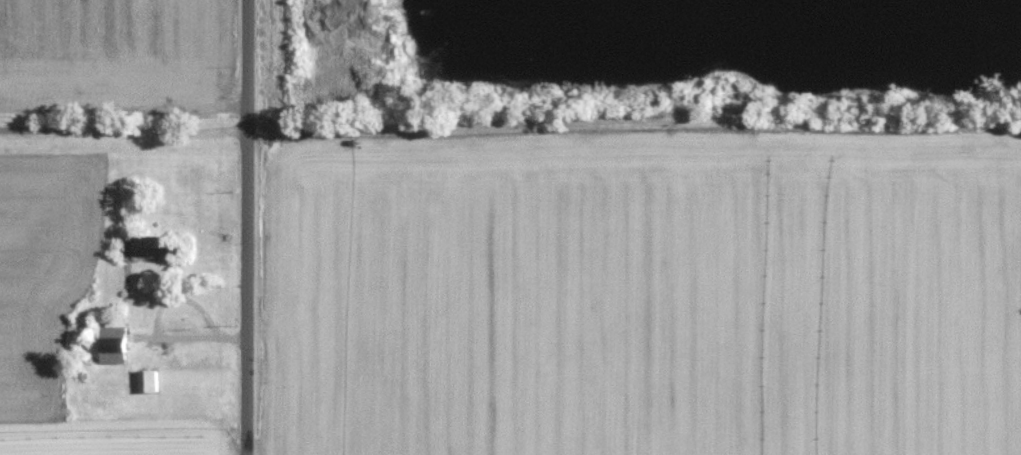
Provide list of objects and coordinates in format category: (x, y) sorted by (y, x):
crop: (116, 58)
quarry: (641, 60)
road: (124, 129)
road: (248, 227)
building: (150, 247)
crop: (646, 297)
road: (156, 324)
building: (112, 344)
building: (146, 381)

